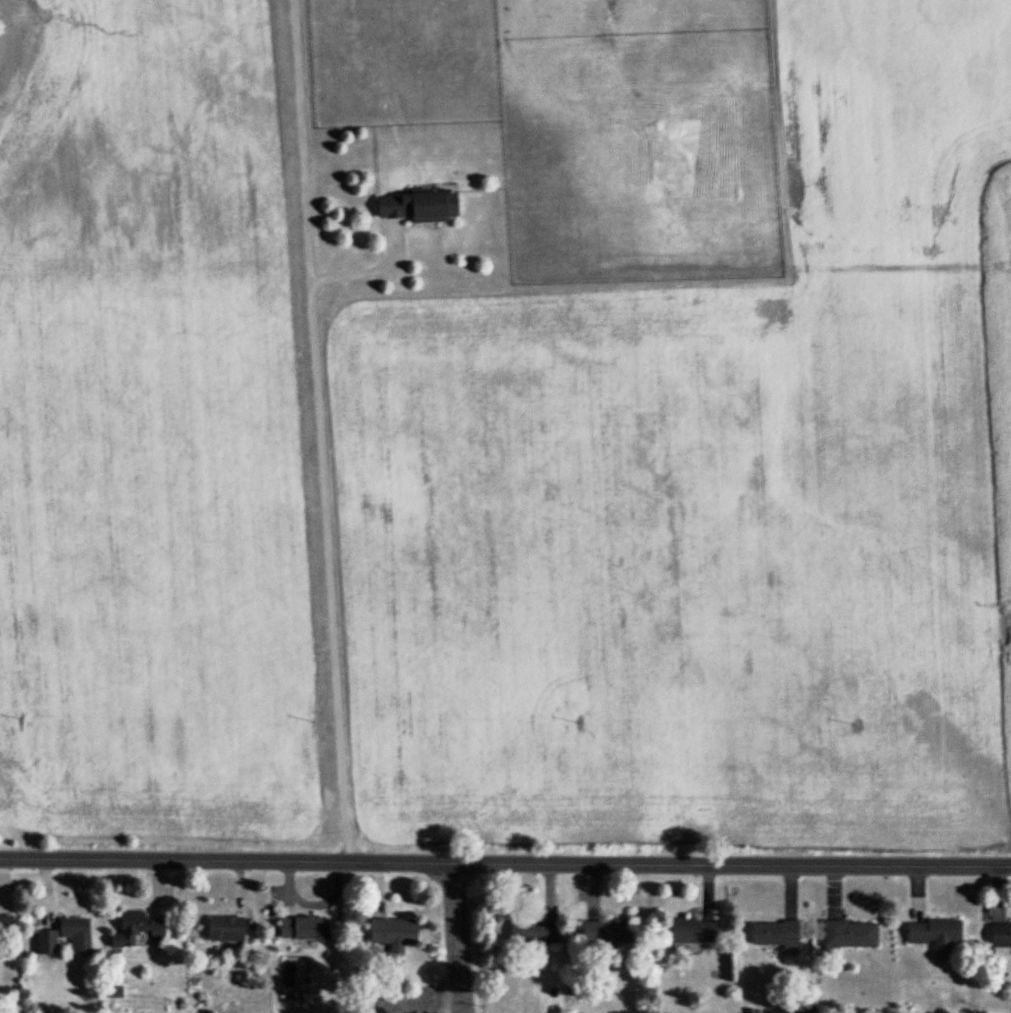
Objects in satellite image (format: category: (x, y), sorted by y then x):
building: (418, 203)
road: (362, 265)
crop: (147, 429)
road: (317, 430)
crop: (711, 500)
road: (505, 862)
road: (2, 868)
road: (156, 888)
road: (378, 889)
road: (548, 890)
road: (790, 890)
road: (594, 891)
road: (833, 891)
road: (46, 892)
road: (706, 892)
road: (916, 892)
road: (995, 892)
road: (243, 896)
road: (1, 903)
road: (312, 903)
building: (6, 923)
building: (304, 925)
building: (225, 926)
building: (136, 927)
building: (607, 929)
building: (691, 929)
building: (76, 930)
building: (534, 930)
building: (393, 931)
building: (935, 931)
building: (775, 932)
building: (847, 933)
building: (1000, 936)
road: (460, 937)
building: (47, 939)
building: (110, 992)
building: (806, 1008)
building: (749, 1010)
building: (207, 1011)

